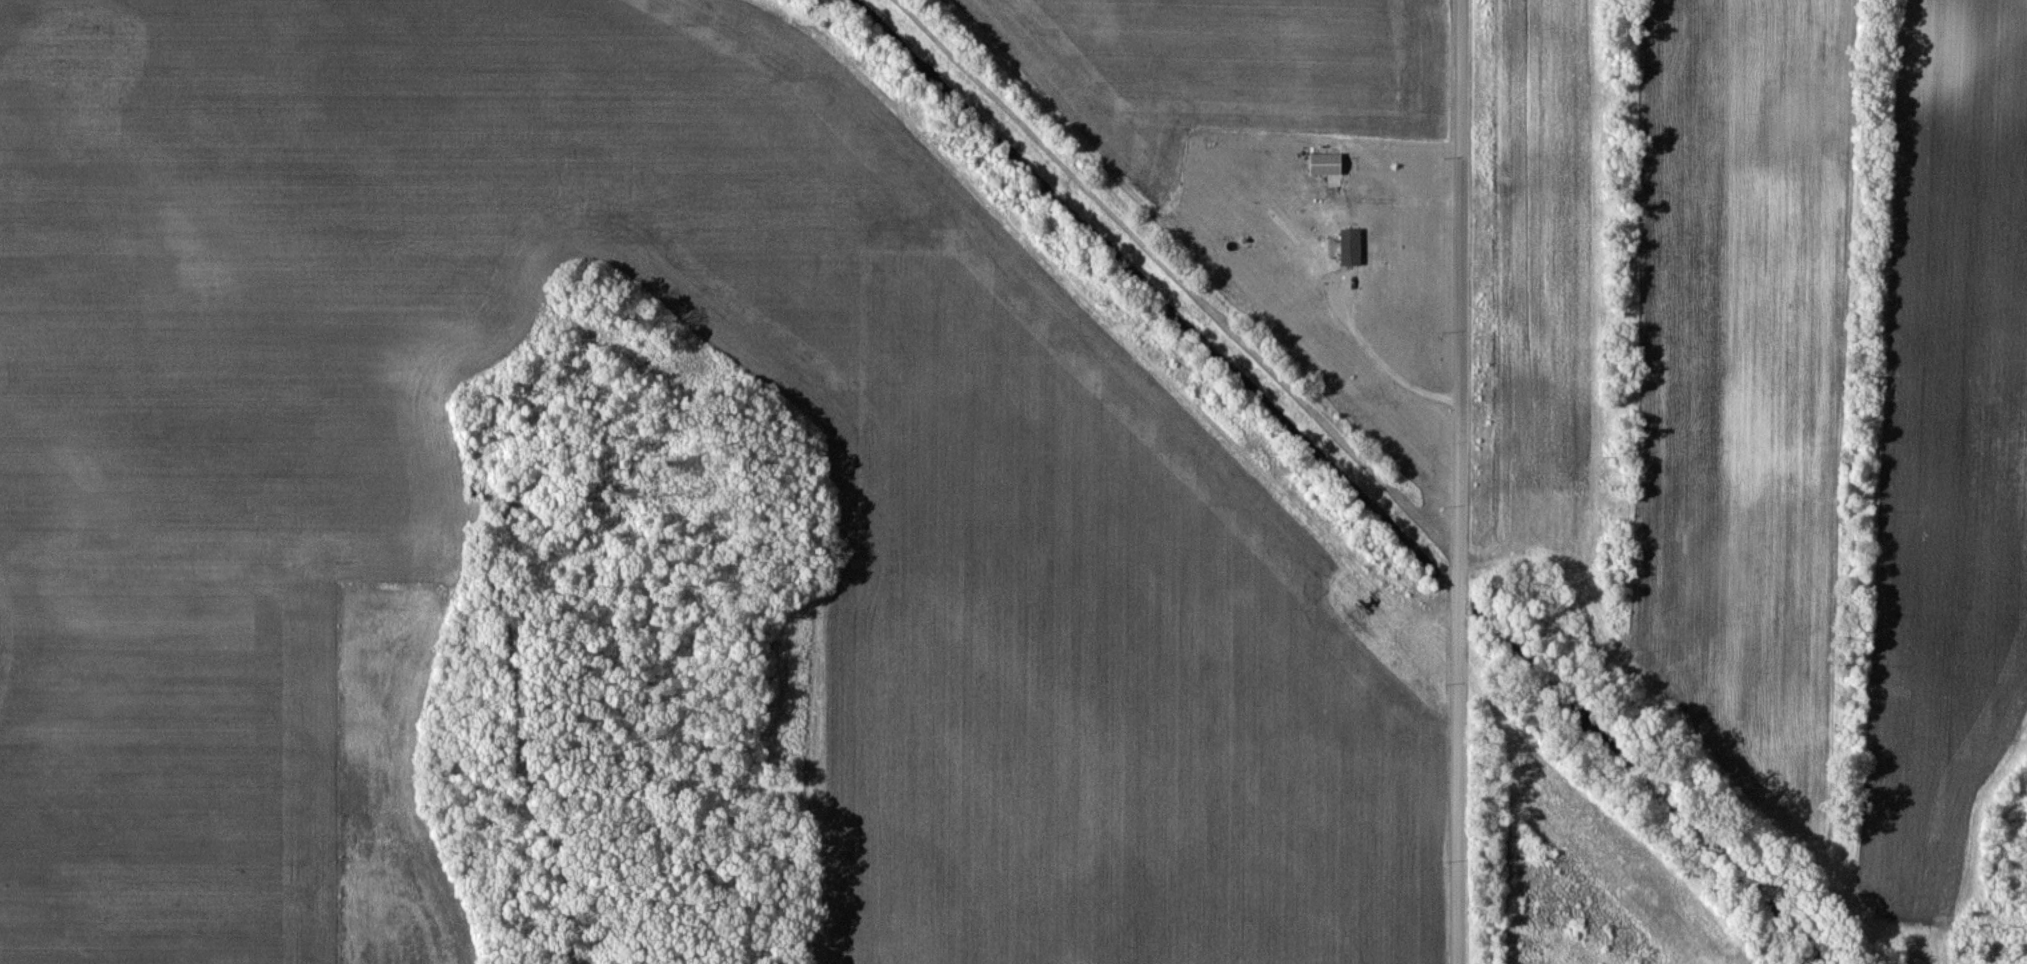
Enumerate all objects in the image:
road: (1462, 482)

